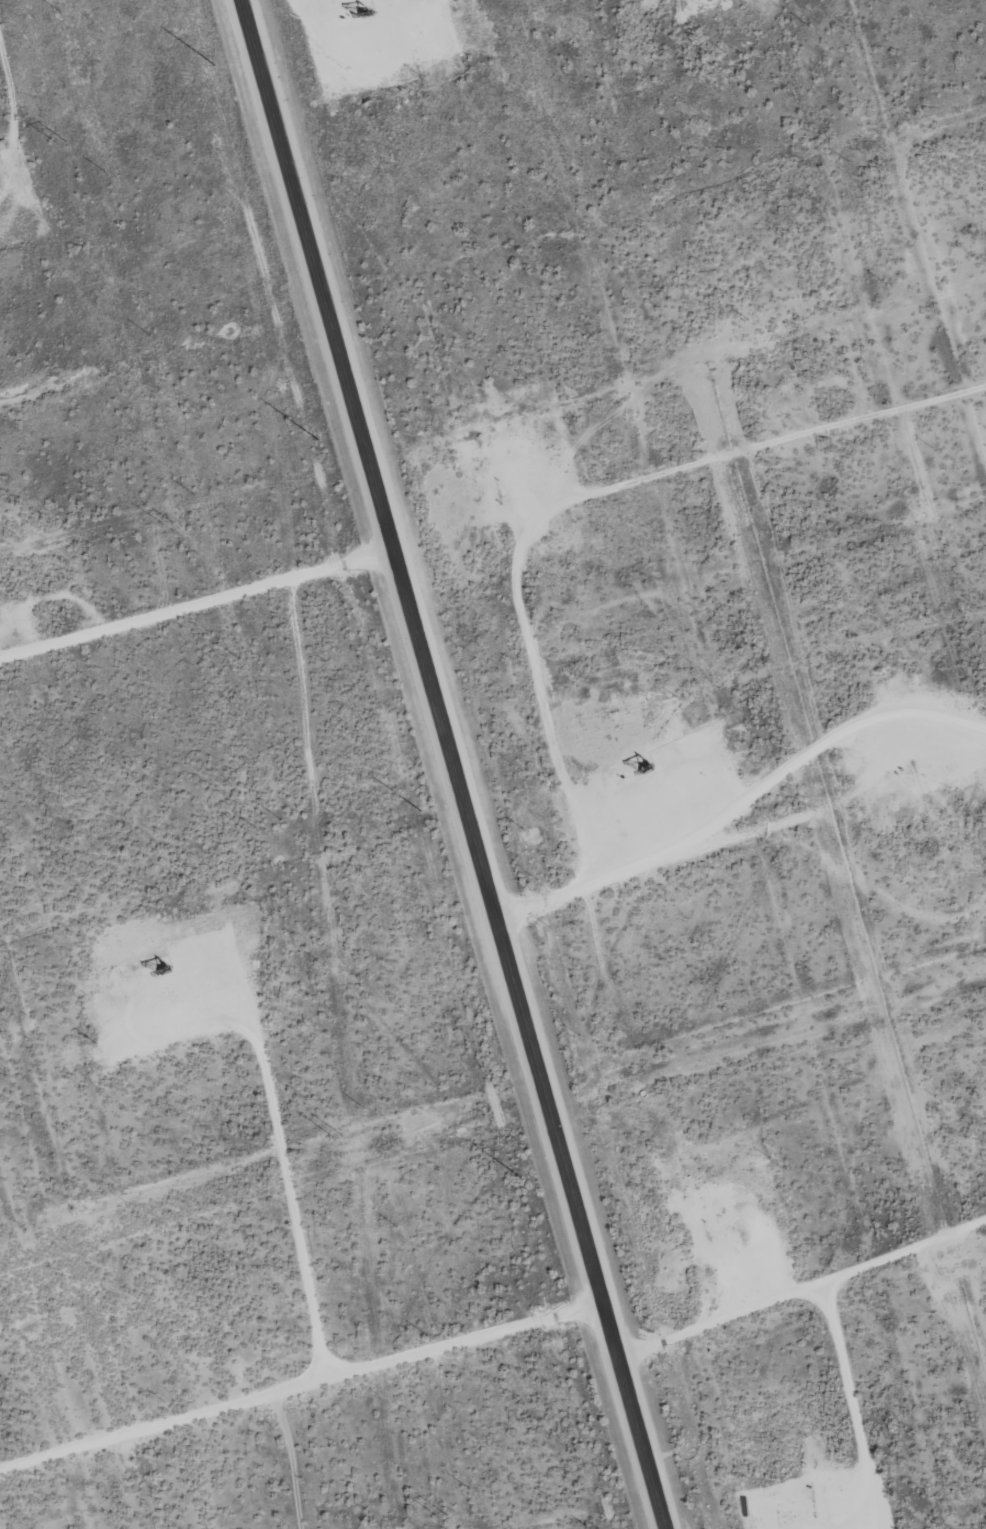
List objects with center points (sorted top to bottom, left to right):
petroleum well: (359, 12)
power tower: (63, 139)
road: (797, 437)
power tower: (168, 523)
road: (196, 600)
road: (452, 764)
power tower: (252, 829)
power tower: (338, 1135)
road: (800, 1288)
road: (300, 1381)
power tower: (444, 1517)

